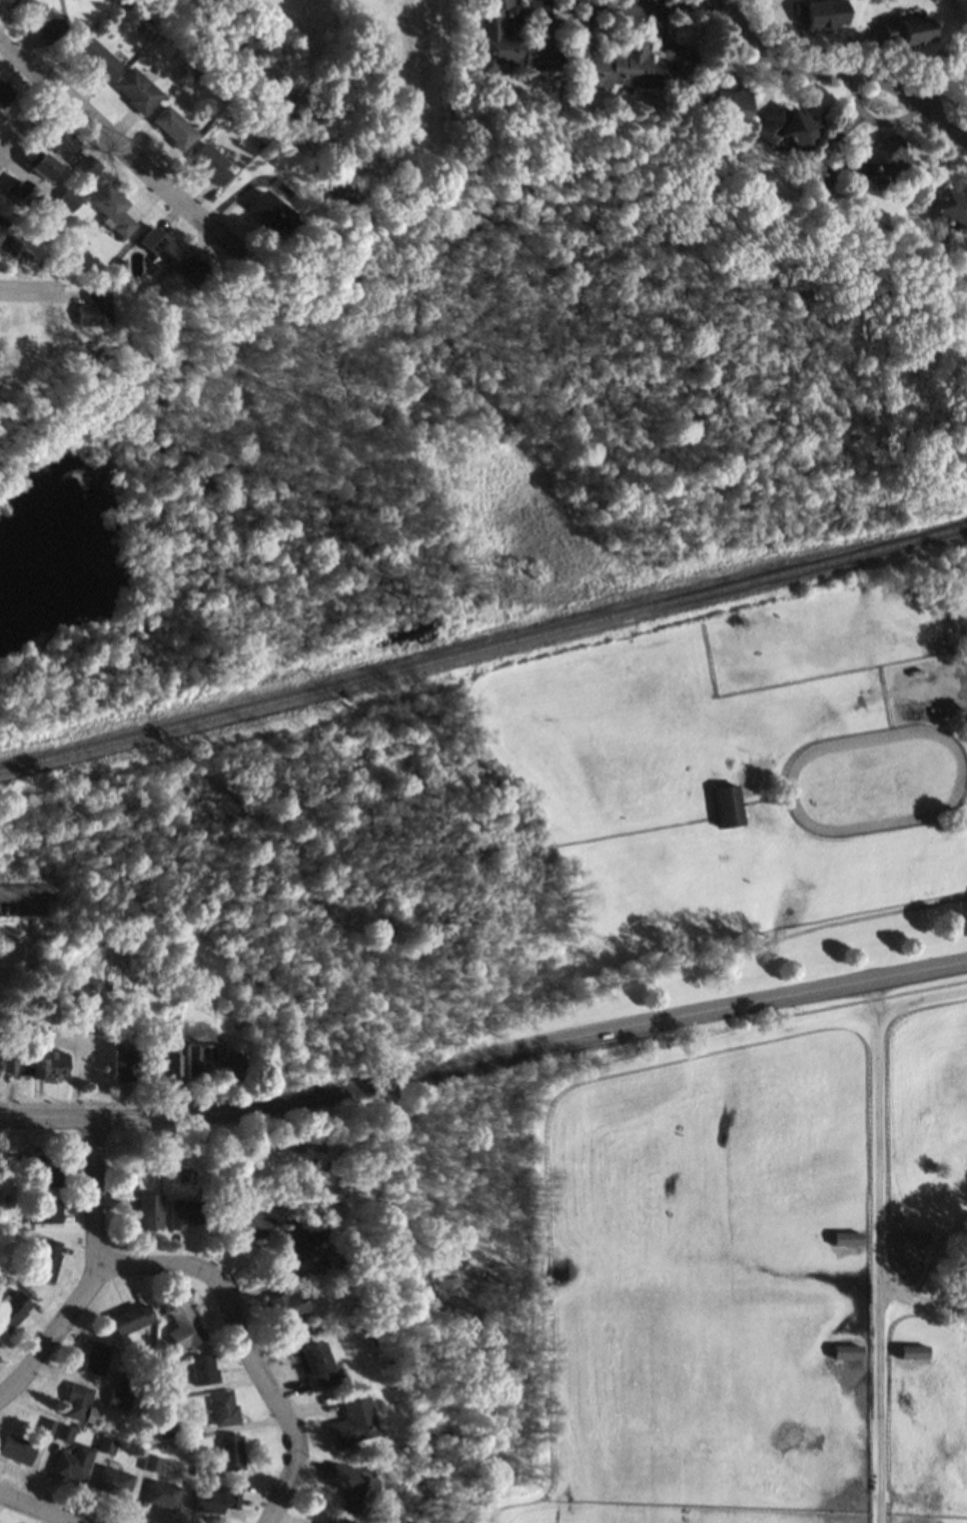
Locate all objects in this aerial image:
building: (938, 0)
road: (657, 8)
building: (50, 24)
building: (908, 31)
building: (517, 43)
building: (98, 58)
building: (631, 67)
road: (843, 71)
road: (945, 76)
building: (137, 90)
building: (4, 93)
building: (727, 104)
road: (27, 122)
building: (173, 127)
building: (788, 129)
building: (63, 142)
road: (120, 144)
building: (878, 159)
building: (208, 161)
building: (44, 165)
building: (19, 190)
building: (69, 199)
building: (47, 208)
building: (112, 209)
building: (950, 211)
building: (264, 212)
building: (8, 239)
building: (156, 244)
building: (183, 269)
road: (31, 291)
building: (92, 310)
building: (27, 338)
building: (729, 805)
road: (692, 961)
road: (728, 1007)
building: (170, 1059)
building: (196, 1060)
building: (233, 1063)
building: (55, 1064)
building: (21, 1066)
building: (124, 1066)
road: (49, 1098)
road: (247, 1110)
building: (46, 1170)
building: (48, 1210)
building: (151, 1211)
building: (184, 1213)
building: (252, 1220)
building: (304, 1235)
building: (847, 1238)
building: (913, 1238)
building: (49, 1260)
crop: (736, 1268)
road: (95, 1273)
building: (14, 1309)
building: (290, 1314)
building: (133, 1318)
building: (186, 1327)
building: (0, 1345)
road: (247, 1345)
building: (848, 1351)
building: (914, 1351)
building: (97, 1360)
building: (317, 1365)
building: (206, 1369)
building: (82, 1404)
building: (226, 1407)
building: (353, 1424)
building: (67, 1432)
building: (110, 1445)
building: (19, 1449)
building: (233, 1452)
building: (75, 1463)
building: (155, 1463)
building: (117, 1481)
building: (350, 1487)
building: (165, 1494)
building: (217, 1499)
road: (43, 1508)
building: (330, 1522)

